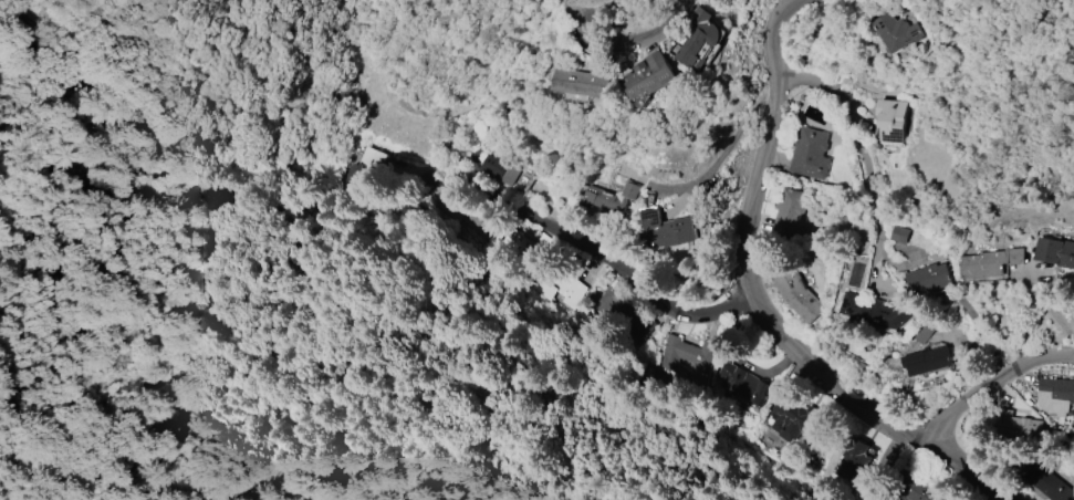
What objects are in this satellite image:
road: (572, 9)
road: (602, 10)
building: (896, 32)
road: (634, 38)
building: (697, 39)
building: (647, 75)
building: (587, 79)
building: (890, 119)
road: (768, 144)
road: (727, 154)
building: (809, 154)
road: (866, 160)
building: (499, 169)
building: (361, 171)
building: (524, 180)
building: (611, 197)
building: (789, 212)
building: (458, 216)
building: (664, 229)
building: (899, 235)
building: (513, 246)
building: (1055, 251)
building: (989, 262)
road: (608, 263)
building: (928, 278)
building: (555, 289)
building: (797, 294)
road: (1047, 305)
building: (875, 312)
building: (924, 330)
building: (686, 356)
building: (927, 361)
building: (741, 384)
road: (989, 384)
building: (1055, 395)
road: (198, 396)
road: (866, 412)
building: (796, 418)
building: (1016, 426)
road: (885, 456)
building: (854, 457)
building: (1050, 480)
building: (916, 489)

